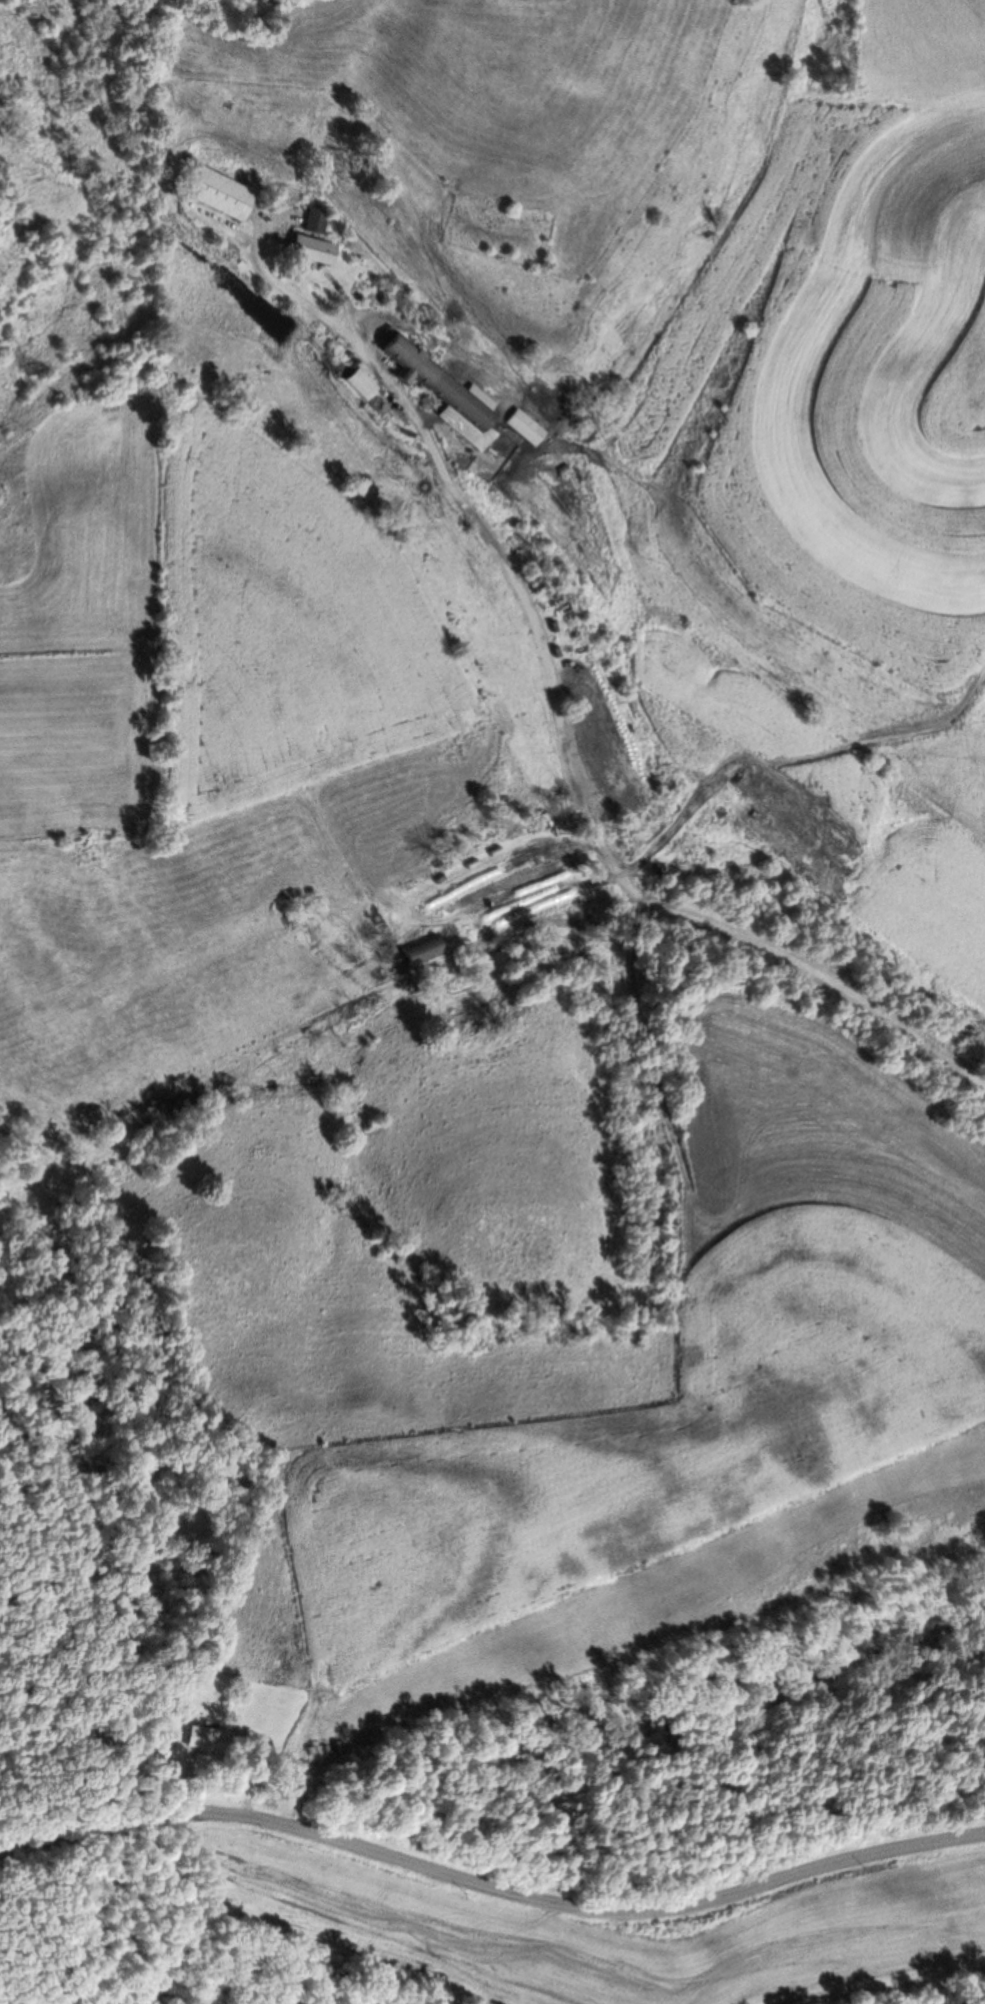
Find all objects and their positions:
building: (225, 193)
building: (323, 221)
building: (323, 250)
building: (447, 384)
building: (532, 429)
road: (572, 785)
building: (430, 950)
building: (215, 1740)
road: (491, 1890)

